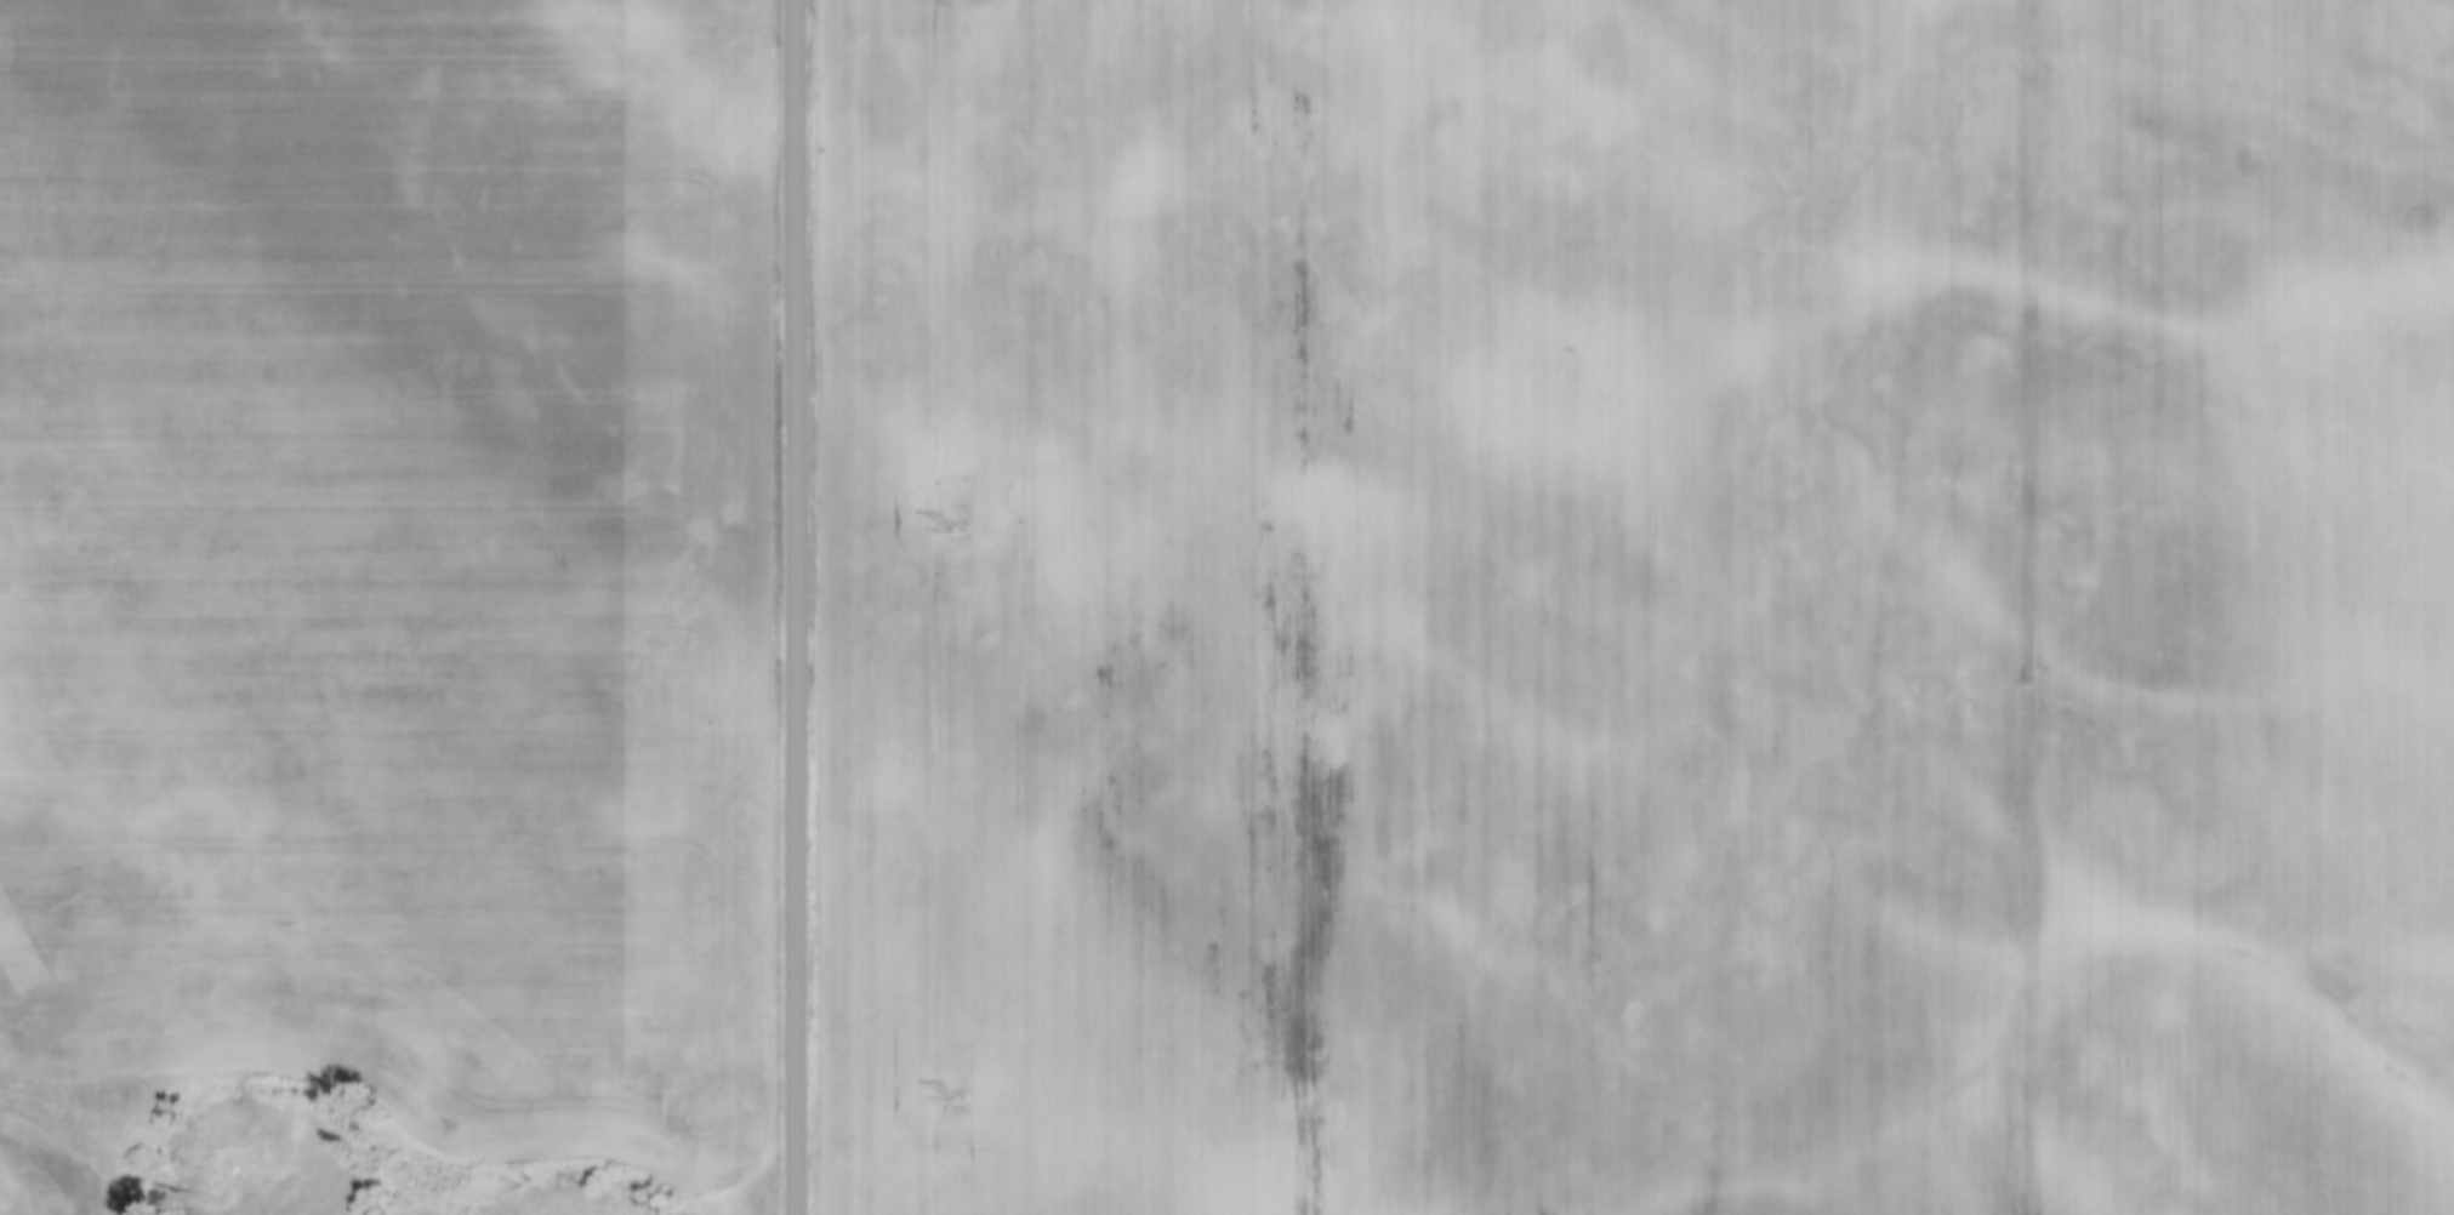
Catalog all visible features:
road: (787, 607)

